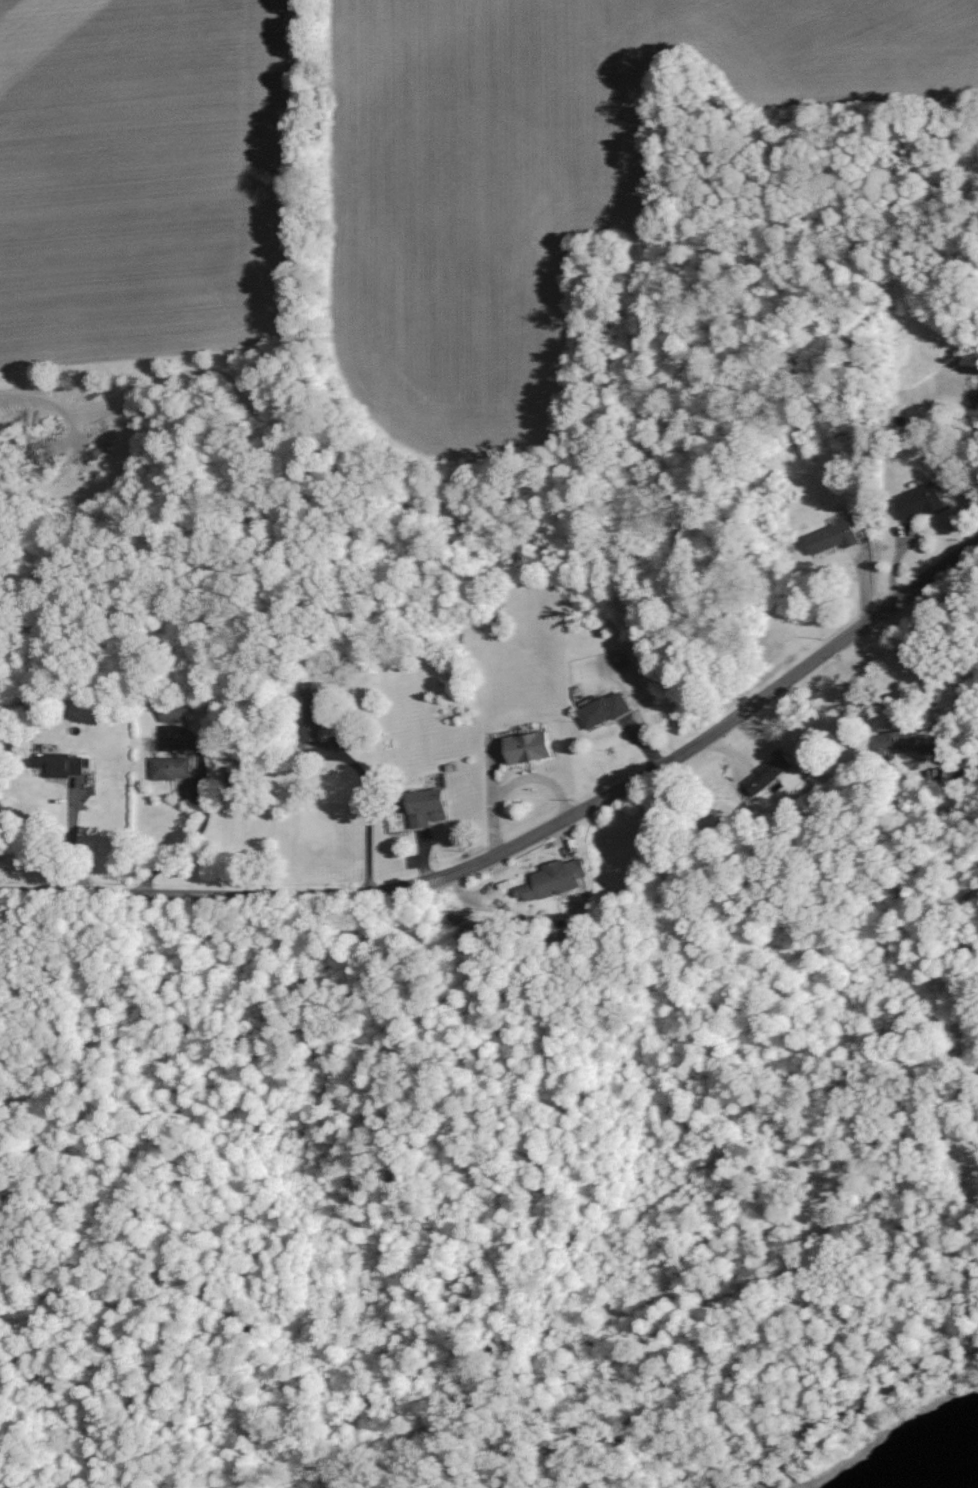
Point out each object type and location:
road: (672, 384)
building: (921, 501)
building: (835, 535)
road: (964, 653)
building: (650, 673)
building: (318, 709)
building: (606, 710)
building: (177, 713)
building: (905, 741)
building: (531, 747)
building: (64, 762)
building: (173, 767)
building: (772, 771)
building: (430, 806)
road: (367, 819)
road: (529, 848)
building: (555, 880)

